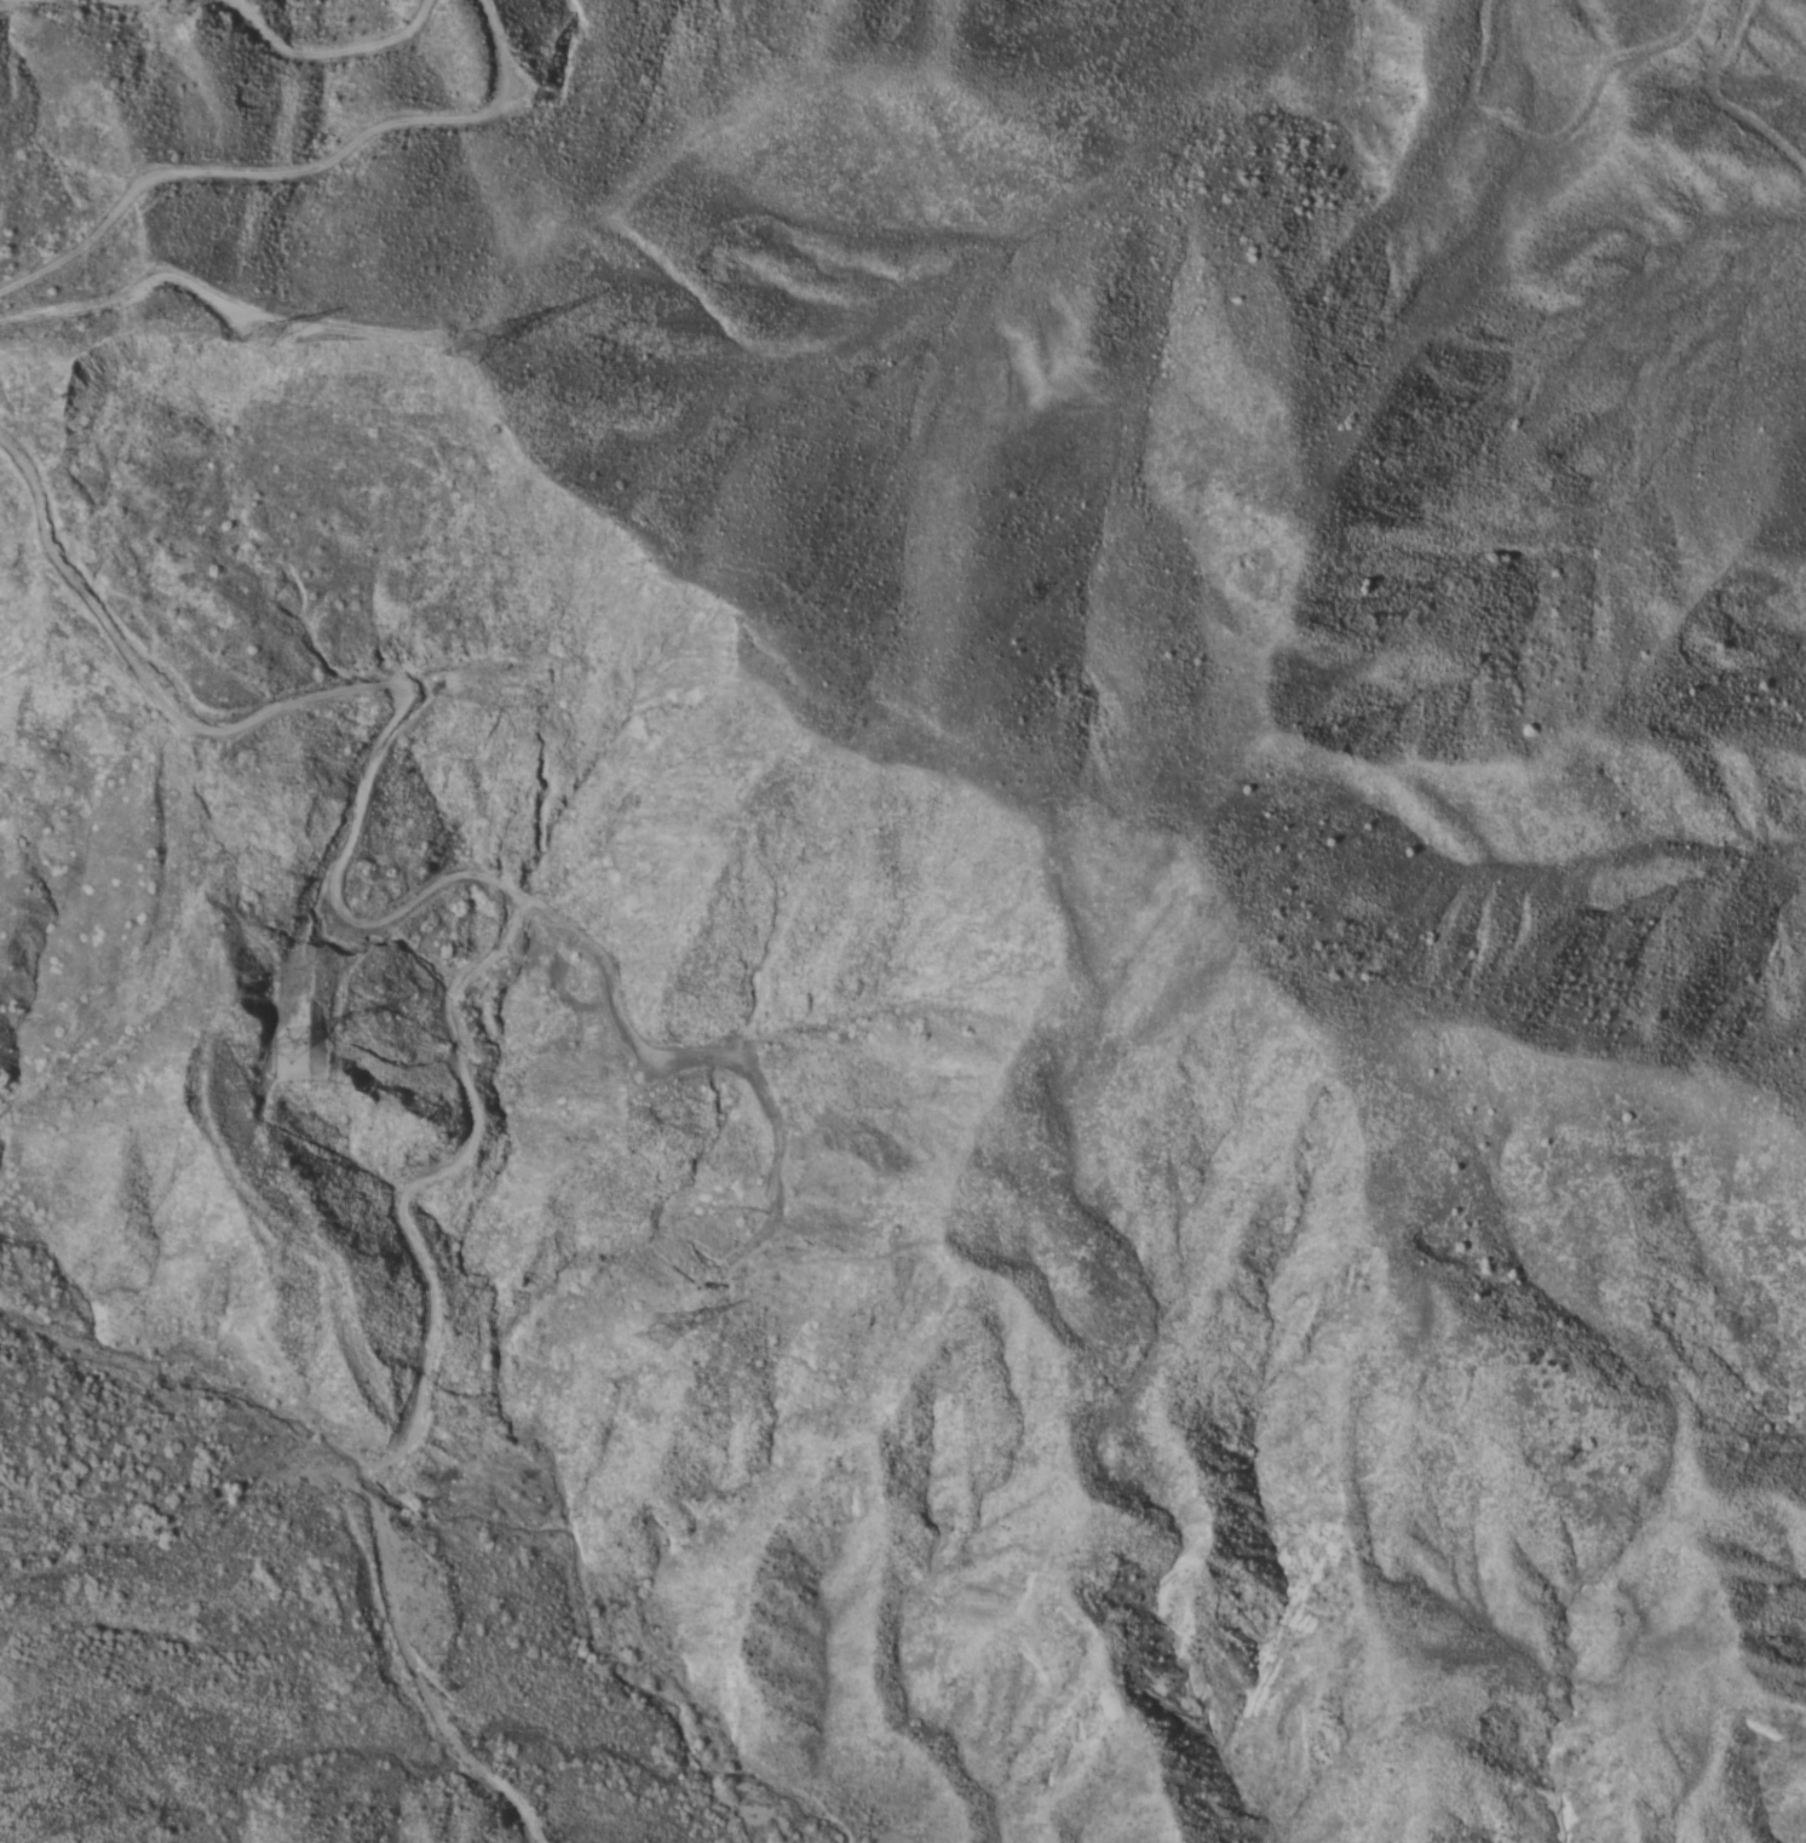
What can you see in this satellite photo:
road: (140, 0)
road: (332, 52)
road: (292, 173)
road: (225, 297)
power tower: (476, 335)
power tower: (264, 348)
road: (502, 948)
power tower: (294, 1041)
road: (701, 1056)
power tower: (680, 1316)

